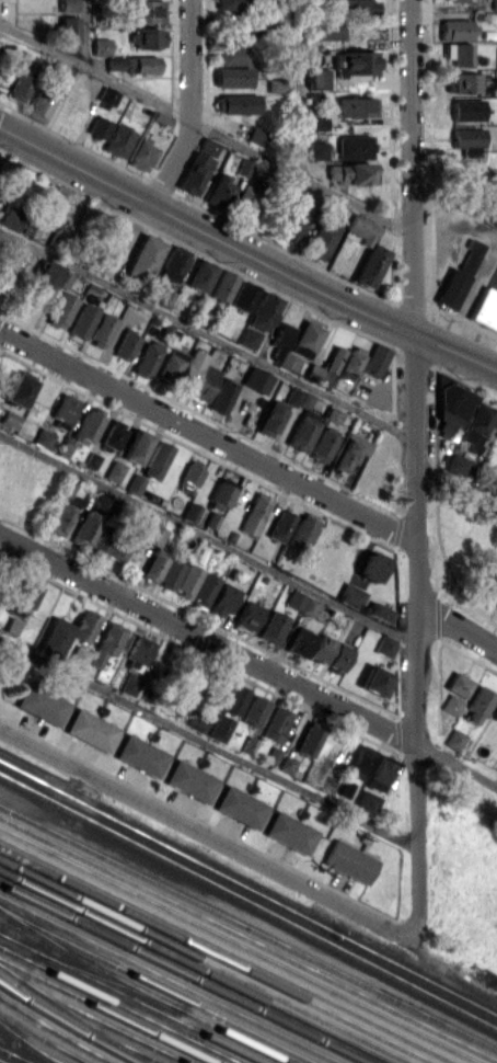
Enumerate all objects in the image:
building: (454, 0)
building: (231, 4)
building: (493, 4)
building: (354, 7)
building: (142, 10)
building: (453, 28)
building: (324, 30)
building: (67, 31)
road: (84, 34)
building: (146, 37)
building: (100, 46)
building: (456, 53)
building: (230, 55)
building: (356, 61)
building: (114, 62)
building: (141, 64)
building: (230, 77)
building: (314, 78)
building: (21, 80)
building: (462, 82)
building: (276, 84)
road: (297, 88)
building: (106, 95)
building: (234, 103)
building: (38, 104)
road: (188, 106)
building: (352, 106)
building: (465, 110)
building: (160, 118)
building: (316, 122)
building: (96, 127)
road: (205, 128)
building: (254, 135)
building: (465, 135)
building: (116, 140)
building: (352, 145)
building: (315, 149)
building: (467, 150)
building: (140, 155)
building: (348, 172)
building: (193, 173)
building: (219, 191)
road: (453, 198)
building: (243, 199)
building: (53, 204)
building: (15, 219)
building: (292, 225)
building: (111, 231)
building: (319, 239)
building: (368, 249)
road: (245, 252)
building: (142, 258)
building: (172, 263)
building: (199, 275)
building: (50, 277)
building: (456, 277)
building: (221, 286)
building: (242, 296)
building: (59, 309)
building: (485, 309)
building: (263, 311)
building: (81, 320)
building: (101, 330)
road: (207, 334)
building: (281, 334)
building: (247, 338)
building: (305, 339)
building: (125, 345)
building: (146, 358)
building: (374, 359)
building: (286, 361)
building: (349, 363)
building: (328, 364)
building: (170, 365)
building: (189, 368)
building: (255, 379)
building: (205, 382)
building: (18, 388)
building: (222, 392)
building: (452, 403)
building: (63, 408)
building: (280, 410)
building: (8, 419)
building: (88, 425)
building: (474, 425)
building: (301, 433)
building: (113, 434)
road: (207, 435)
building: (42, 437)
building: (321, 444)
building: (134, 446)
building: (349, 450)
building: (90, 460)
building: (155, 460)
building: (455, 465)
road: (414, 466)
building: (113, 473)
building: (190, 473)
road: (455, 491)
building: (219, 496)
building: (61, 511)
building: (188, 511)
building: (253, 514)
building: (210, 519)
building: (279, 525)
building: (84, 528)
building: (301, 533)
building: (151, 535)
road: (207, 537)
building: (111, 542)
building: (370, 565)
building: (162, 569)
building: (186, 580)
building: (489, 583)
building: (203, 590)
building: (23, 594)
building: (348, 594)
building: (221, 599)
building: (300, 602)
building: (496, 606)
building: (378, 611)
building: (246, 615)
building: (11, 625)
building: (270, 627)
road: (458, 627)
building: (67, 630)
road: (208, 639)
building: (106, 642)
building: (299, 642)
building: (384, 644)
building: (137, 649)
building: (330, 653)
building: (78, 655)
building: (375, 682)
building: (129, 683)
building: (456, 684)
building: (233, 699)
building: (41, 704)
building: (450, 704)
building: (476, 704)
building: (253, 710)
building: (495, 715)
building: (199, 721)
building: (276, 724)
building: (219, 728)
building: (90, 729)
building: (308, 741)
road: (207, 743)
building: (140, 755)
building: (361, 758)
building: (286, 764)
road: (456, 766)
building: (380, 773)
building: (189, 780)
building: (365, 802)
building: (240, 807)
road: (204, 832)
building: (289, 832)
building: (348, 861)
railway: (247, 889)
railway: (248, 901)
railway: (248, 928)
railway: (248, 939)
railway: (239, 945)
railway: (227, 951)
railway: (216, 957)
railway: (205, 962)
railway: (193, 968)
railway: (181, 974)
railway: (166, 980)
railway: (154, 986)
railway: (139, 991)
railway: (129, 999)
railway: (117, 1005)
railway: (103, 1011)
railway: (76, 1017)
railway: (94, 1018)
railway: (63, 1026)
railway: (54, 1031)
railway: (42, 1038)
railway: (28, 1044)
railway: (35, 1051)
railway: (13, 1055)
railway: (1, 1062)

